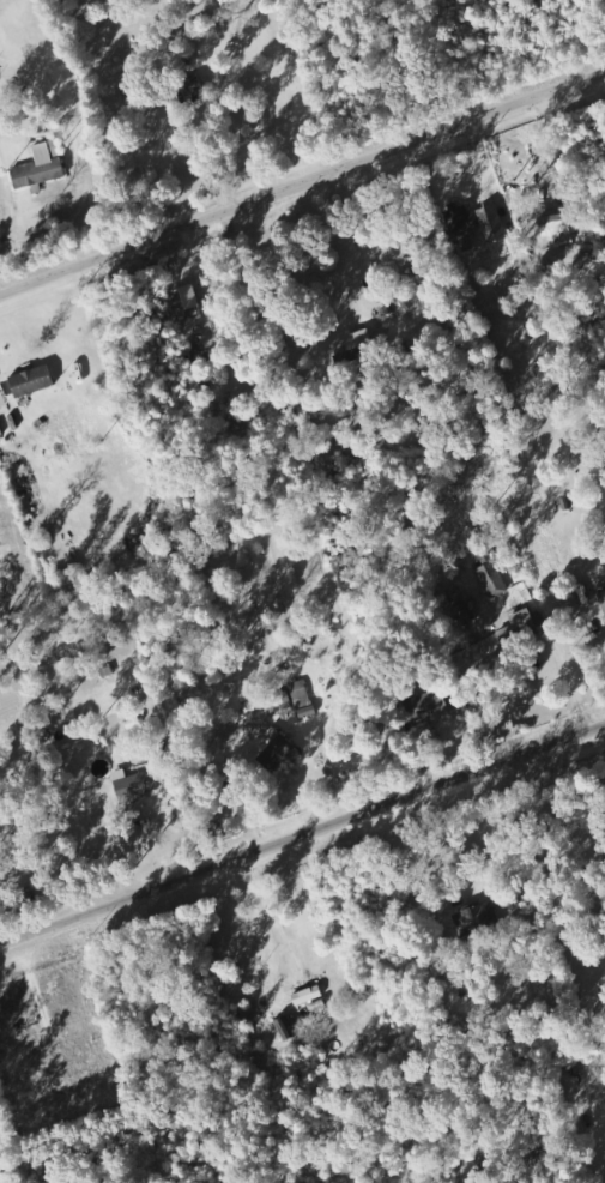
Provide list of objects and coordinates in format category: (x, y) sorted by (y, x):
building: (41, 167)
road: (302, 169)
building: (490, 215)
building: (464, 224)
building: (557, 229)
building: (187, 298)
building: (363, 338)
building: (34, 381)
building: (4, 400)
building: (492, 578)
building: (603, 598)
building: (524, 624)
building: (303, 698)
building: (440, 701)
building: (282, 748)
building: (139, 785)
road: (302, 834)
building: (285, 1028)

